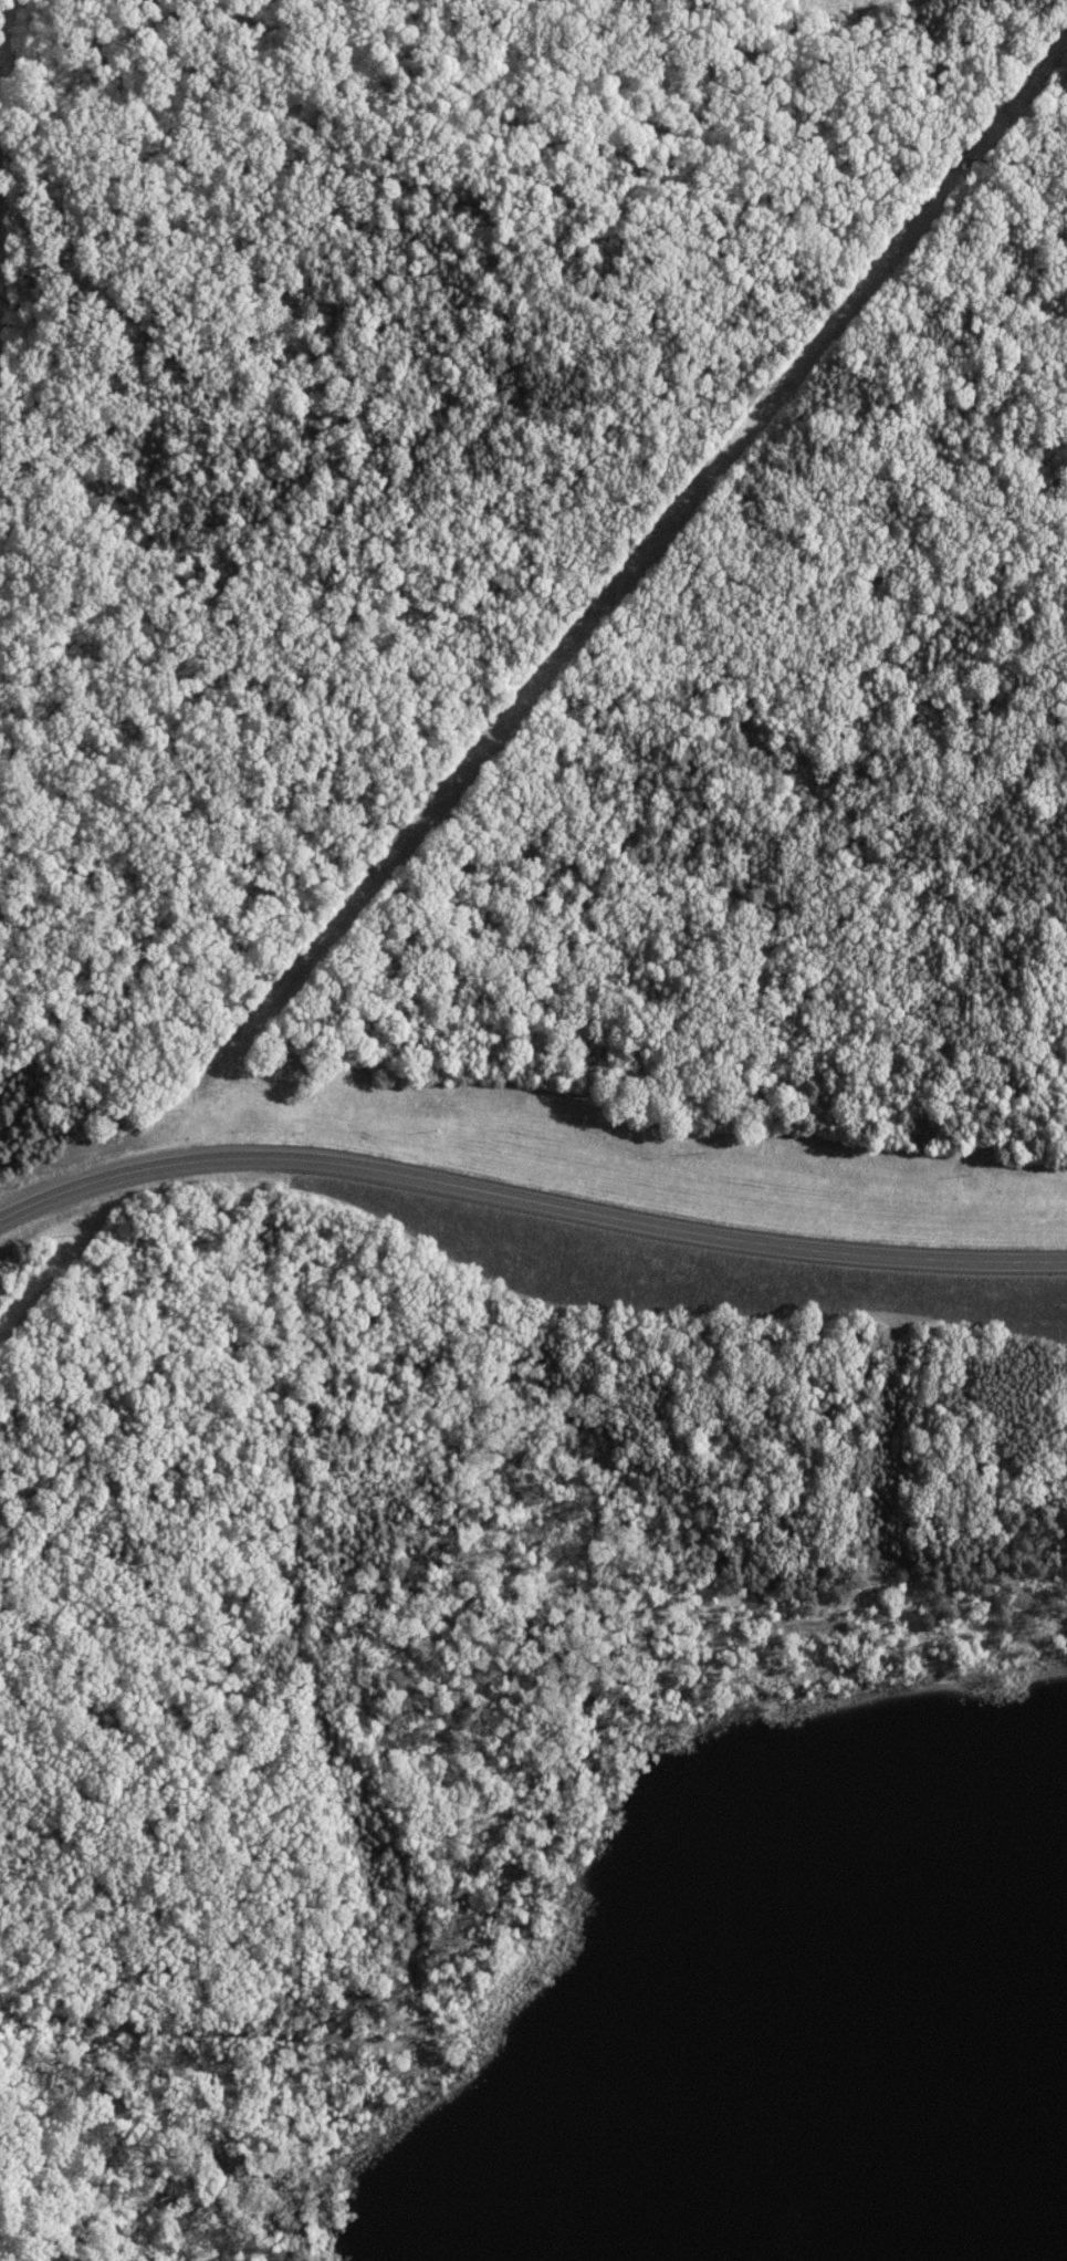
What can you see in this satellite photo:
road: (530, 1206)

